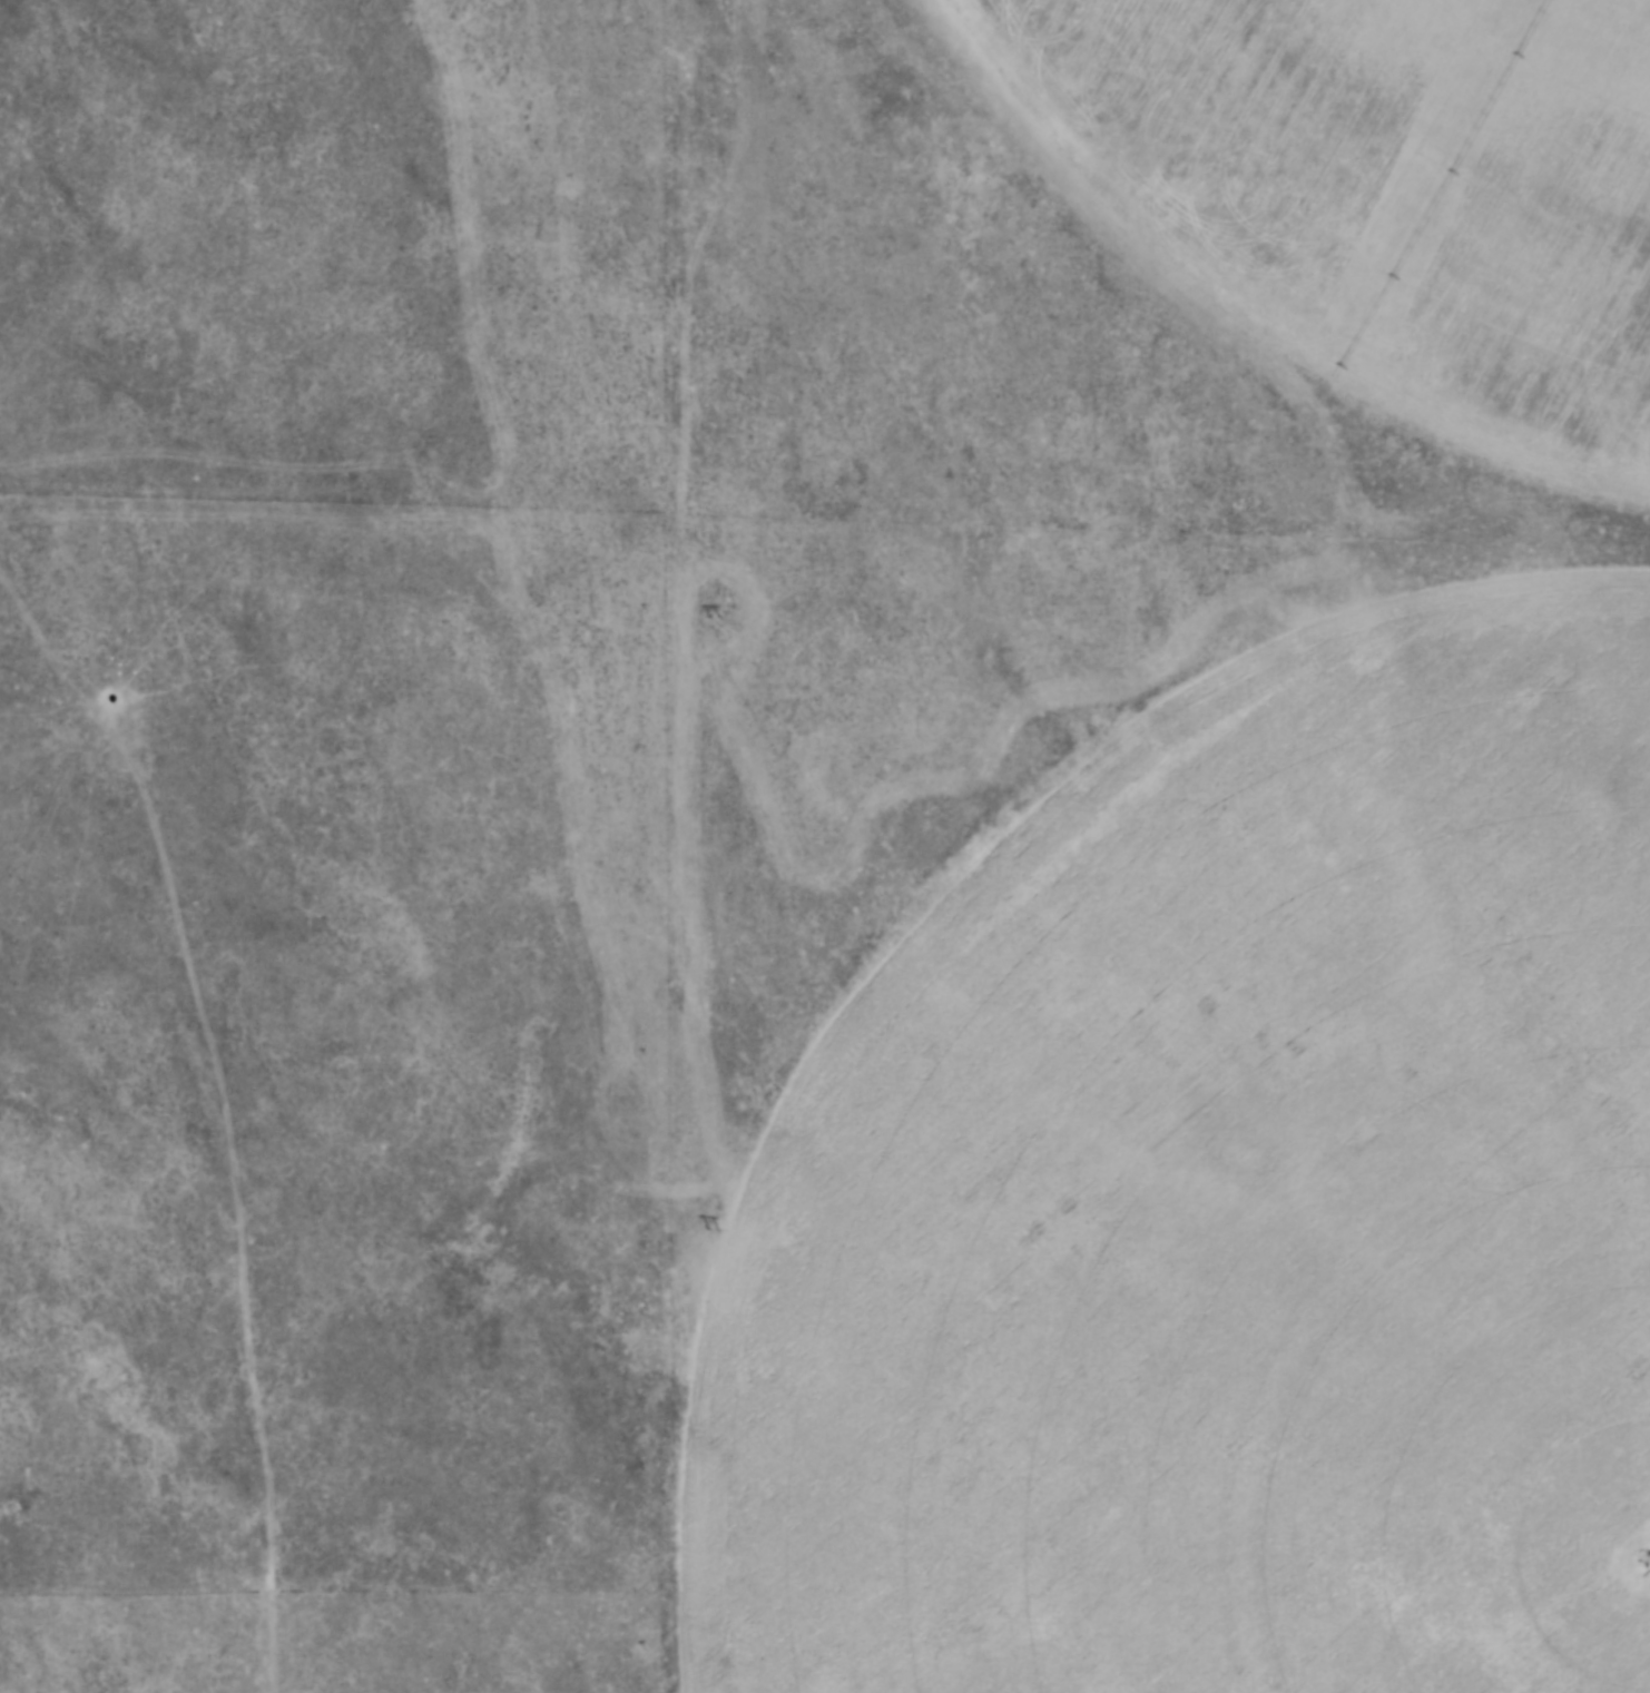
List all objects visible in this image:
crop: (1371, 200)
power tower: (713, 618)
road: (223, 1111)
crop: (1221, 1203)
power tower: (710, 1231)

